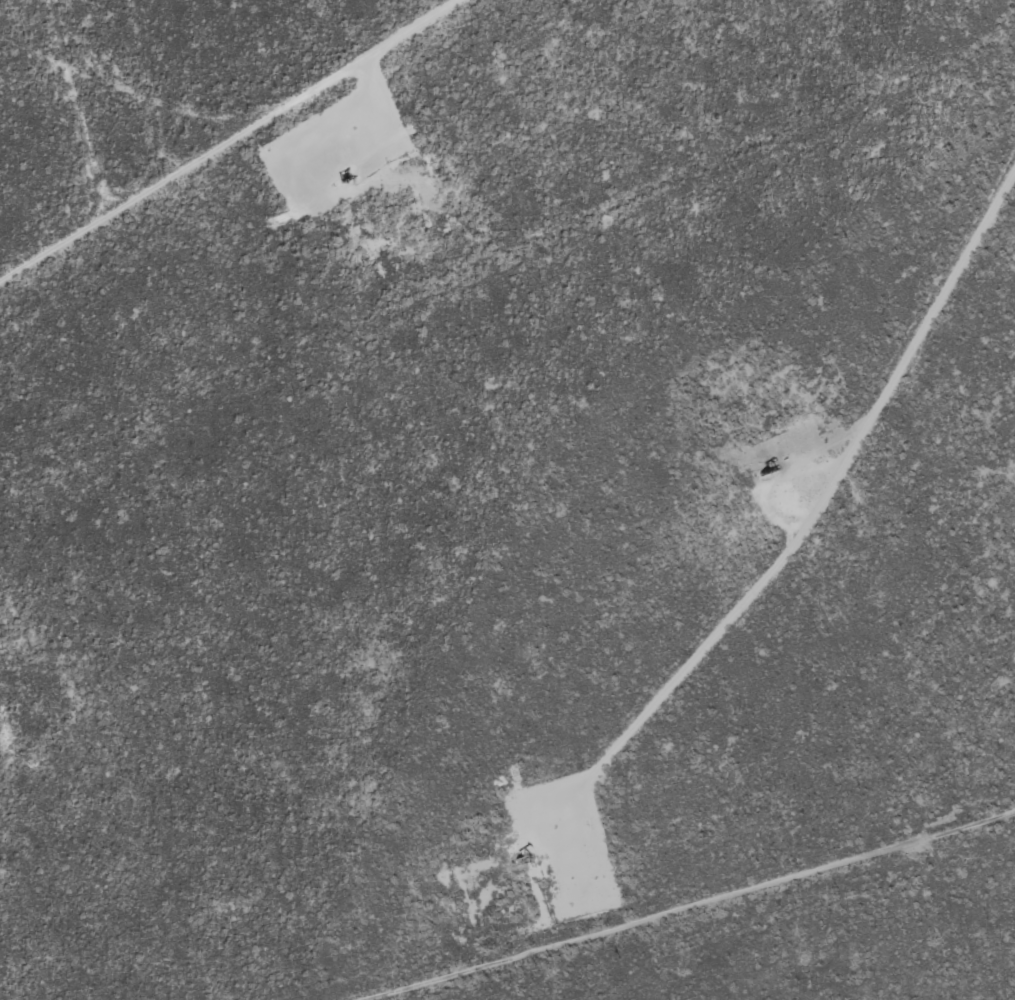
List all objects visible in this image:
road: (112, 103)
road: (239, 146)
road: (922, 362)
road: (660, 898)

